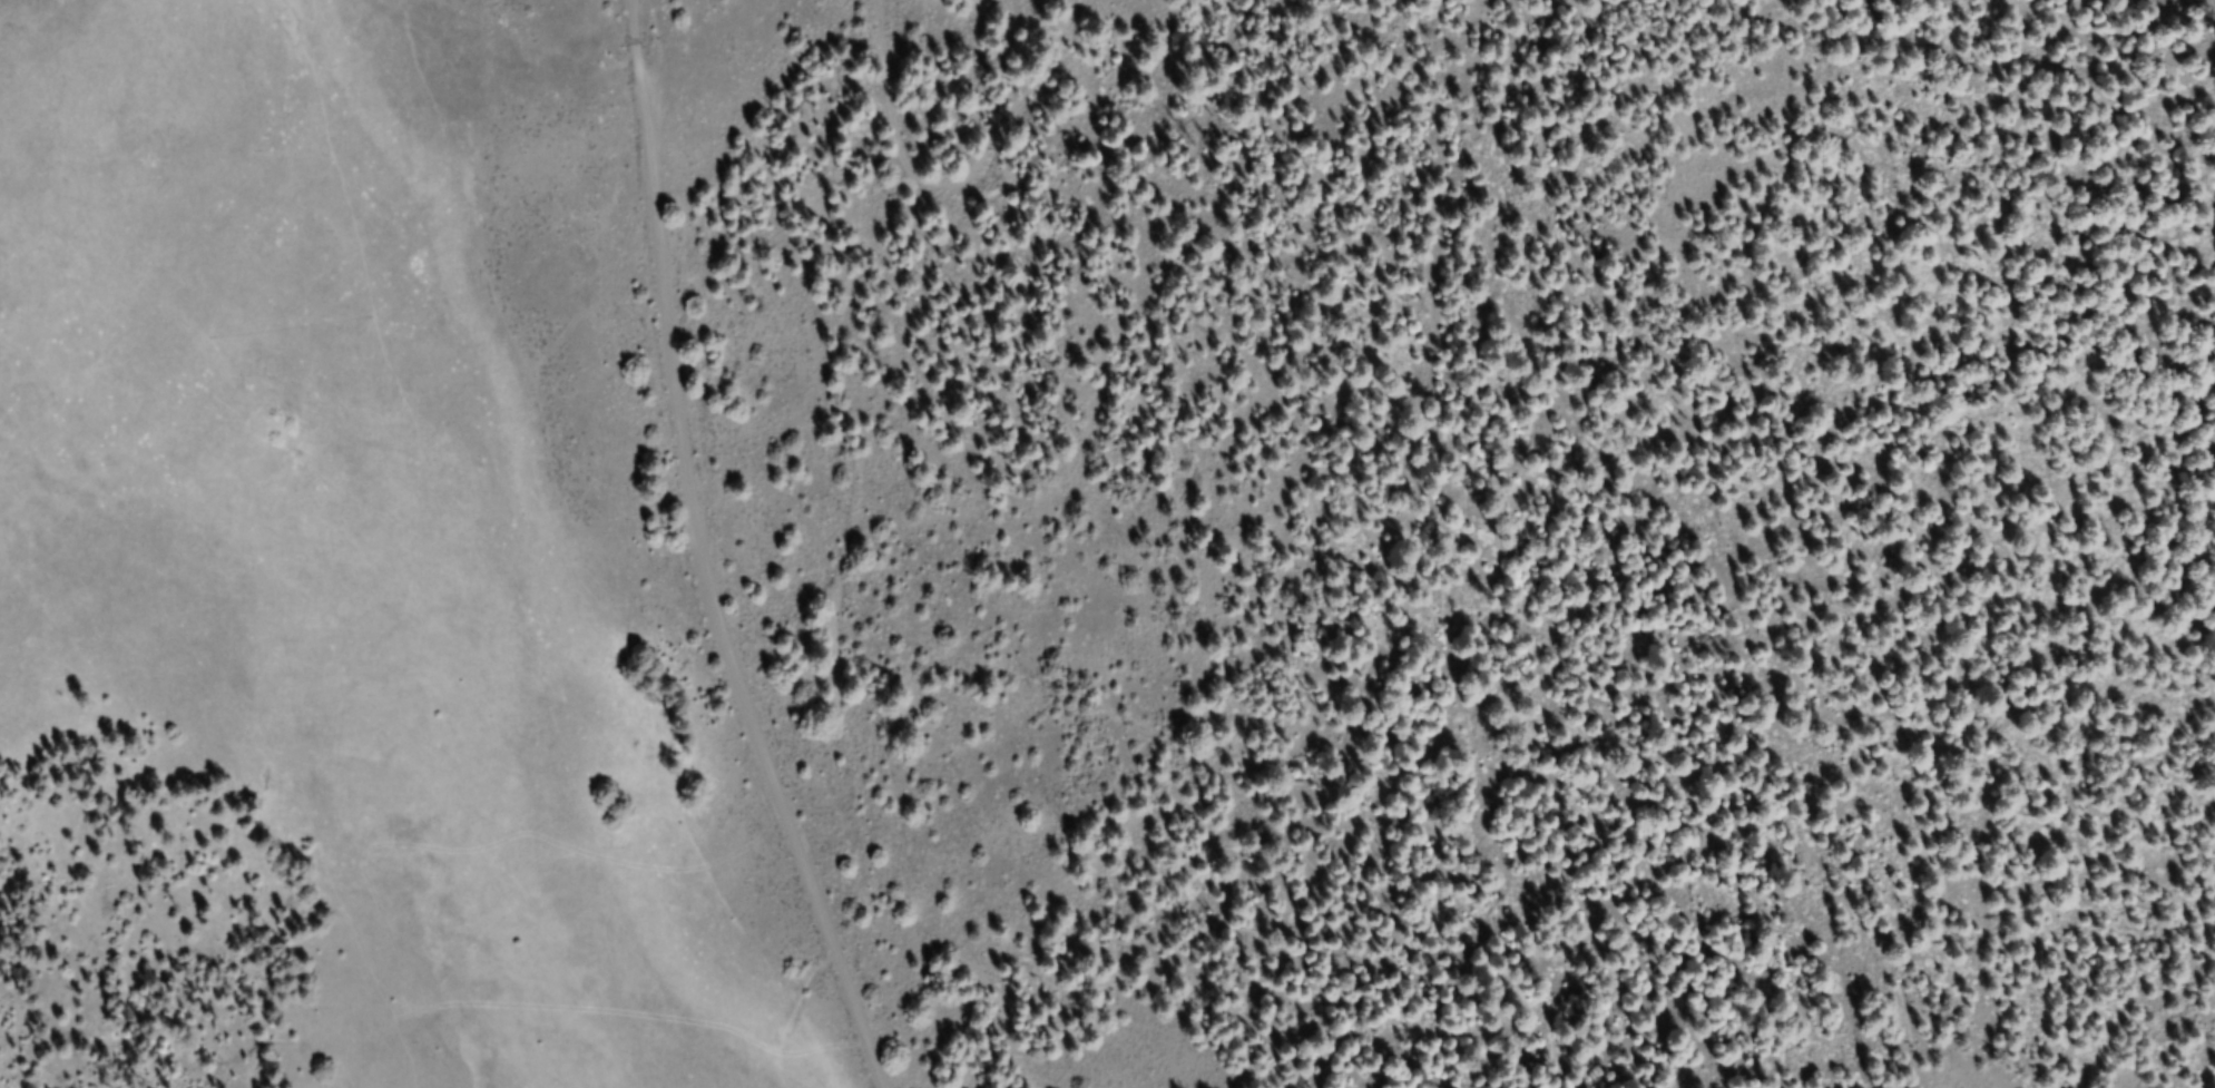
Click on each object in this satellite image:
road: (884, 445)
road: (716, 553)

